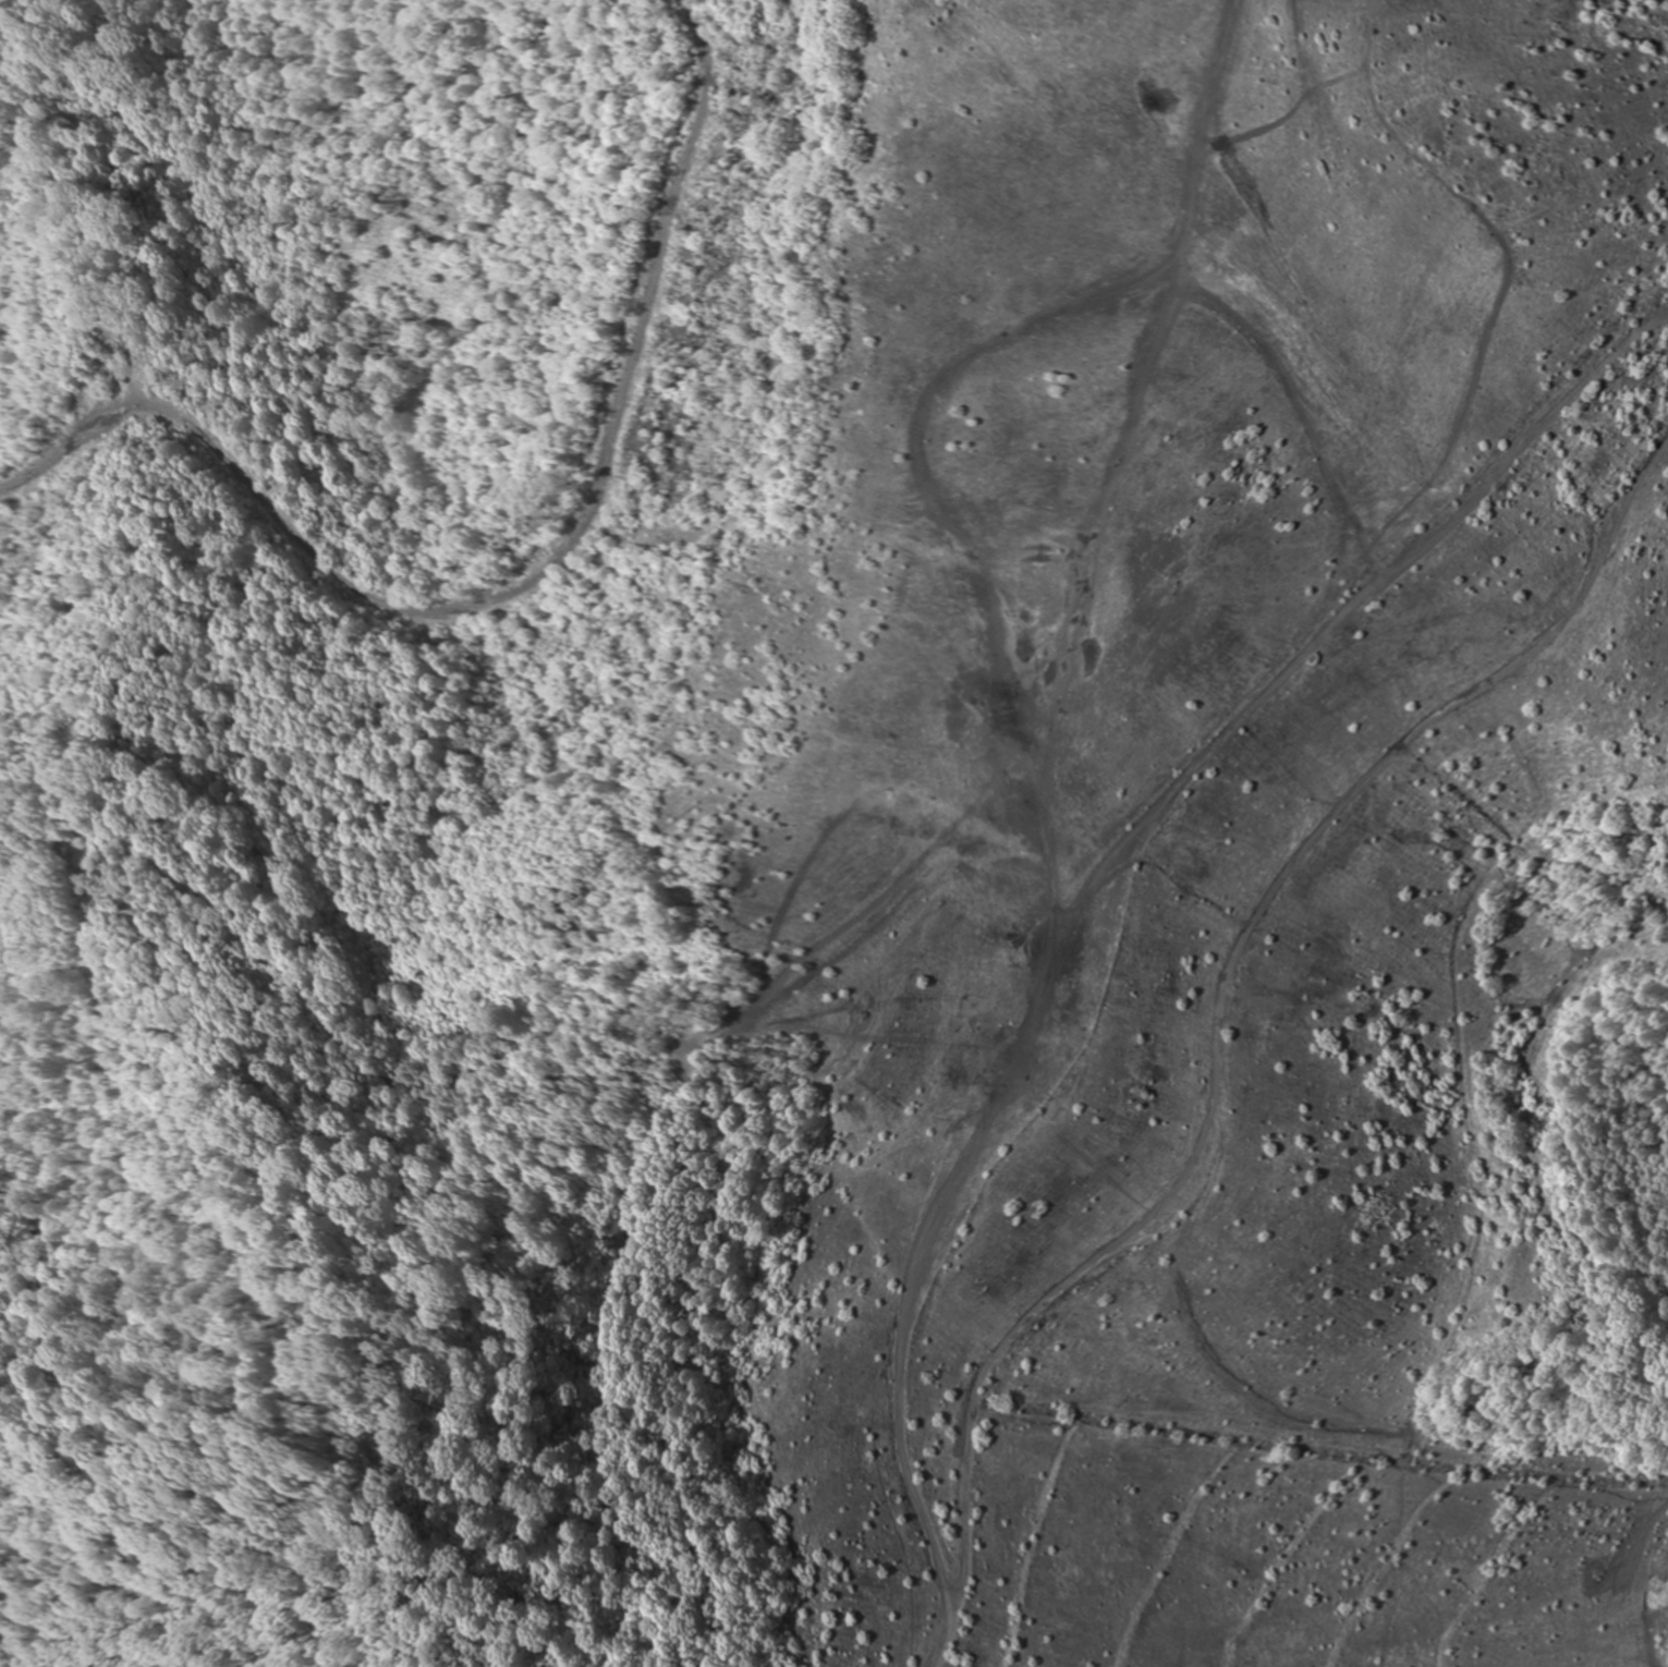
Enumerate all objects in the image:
road: (1538, 1548)

